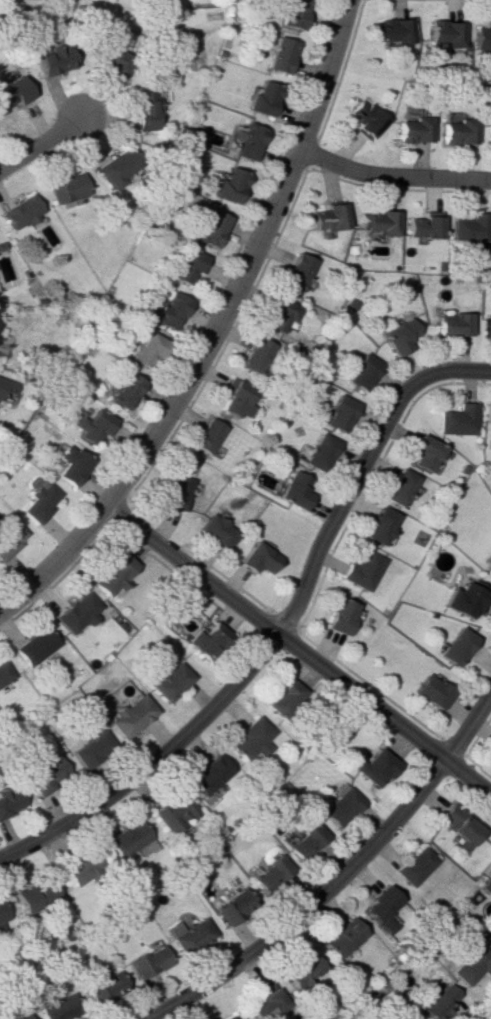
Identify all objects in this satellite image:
building: (292, 13)
building: (394, 30)
building: (444, 34)
building: (482, 37)
building: (280, 54)
building: (52, 59)
building: (112, 60)
building: (13, 92)
building: (262, 98)
building: (143, 110)
building: (365, 119)
building: (414, 130)
building: (458, 131)
building: (489, 134)
building: (248, 140)
road: (40, 142)
building: (119, 167)
road: (392, 177)
building: (230, 185)
building: (66, 187)
building: (21, 212)
building: (329, 217)
building: (379, 221)
building: (423, 227)
building: (212, 228)
building: (469, 228)
road: (248, 263)
building: (189, 265)
building: (296, 271)
building: (170, 311)
building: (278, 315)
building: (453, 324)
building: (486, 328)
building: (398, 336)
building: (0, 339)
building: (148, 350)
building: (254, 355)
building: (361, 372)
building: (2, 386)
building: (124, 390)
building: (238, 398)
building: (339, 413)
building: (487, 413)
building: (458, 419)
building: (95, 428)
building: (206, 435)
building: (319, 451)
building: (424, 452)
building: (69, 463)
building: (397, 487)
building: (294, 490)
building: (177, 493)
building: (39, 501)
building: (379, 525)
building: (216, 530)
building: (10, 537)
building: (257, 558)
road: (55, 562)
building: (486, 562)
building: (362, 570)
building: (114, 573)
building: (465, 598)
building: (77, 612)
building: (339, 616)
road: (279, 631)
building: (207, 640)
building: (34, 646)
building: (455, 646)
road: (298, 650)
building: (4, 672)
building: (167, 681)
building: (430, 691)
building: (284, 698)
building: (129, 716)
building: (249, 740)
building: (90, 749)
building: (490, 749)
building: (373, 767)
building: (44, 774)
building: (207, 774)
building: (8, 800)
building: (341, 807)
building: (171, 812)
building: (459, 824)
building: (125, 838)
building: (303, 841)
building: (415, 865)
building: (79, 868)
building: (267, 873)
road: (339, 877)
building: (33, 896)
building: (230, 906)
building: (380, 908)
building: (1, 915)
building: (189, 936)
building: (340, 937)
building: (147, 961)
building: (472, 965)
building: (299, 971)
building: (102, 985)
building: (438, 1002)
building: (263, 1003)
building: (58, 1007)
building: (18, 1016)
building: (224, 1017)

